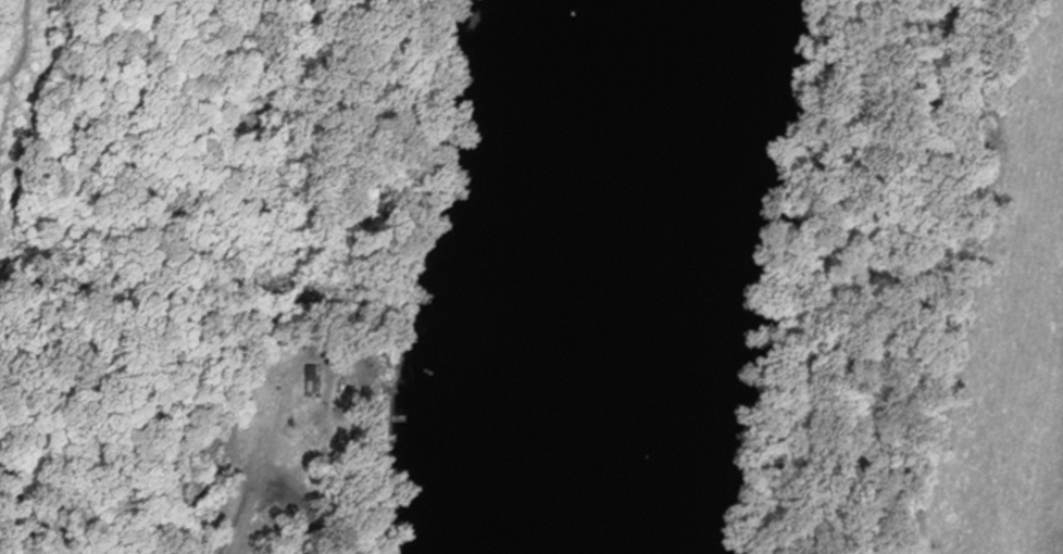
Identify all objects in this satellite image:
road: (903, 276)
river: (608, 277)
building: (318, 372)
road: (26, 513)

